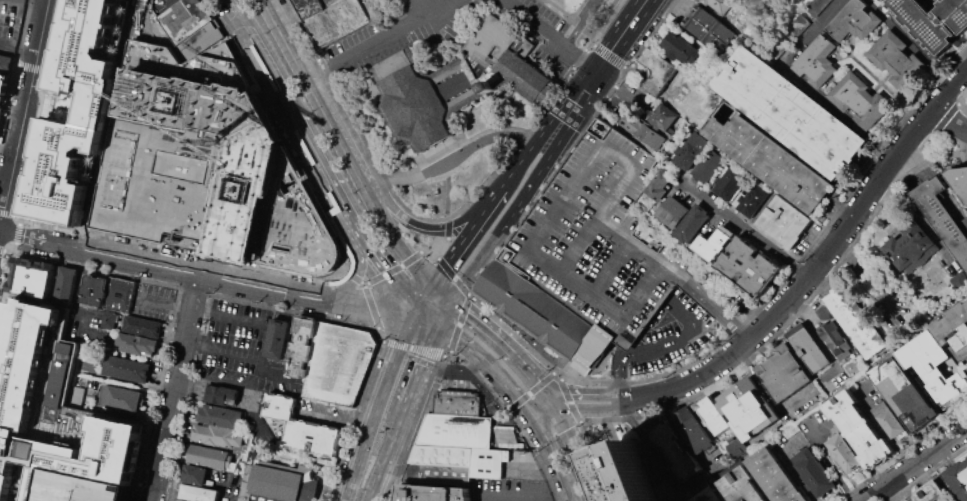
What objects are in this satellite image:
road: (168, 1)
building: (884, 1)
road: (34, 2)
parking lot: (163, 5)
building: (720, 5)
road: (420, 7)
building: (330, 18)
building: (934, 20)
building: (853, 22)
parking lot: (10, 23)
road: (532, 23)
road: (580, 24)
building: (799, 24)
building: (191, 28)
building: (711, 30)
road: (21, 33)
parking lot: (459, 34)
road: (621, 34)
road: (380, 35)
road: (908, 42)
road: (17, 46)
building: (681, 48)
road: (600, 49)
road: (261, 58)
road: (580, 58)
building: (896, 59)
building: (817, 62)
building: (5, 63)
road: (30, 67)
traffic signals: (597, 70)
building: (657, 70)
road: (46, 71)
road: (807, 83)
building: (457, 85)
building: (3, 86)
road: (314, 90)
road: (583, 90)
building: (859, 100)
road: (43, 108)
building: (76, 109)
road: (24, 110)
building: (1, 113)
building: (792, 113)
building: (663, 116)
road: (581, 119)
road: (556, 121)
road: (948, 121)
road: (354, 125)
building: (642, 130)
road: (936, 132)
road: (284, 134)
road: (632, 139)
road: (7, 148)
building: (694, 151)
road: (522, 159)
road: (927, 159)
road: (454, 160)
road: (319, 161)
building: (774, 161)
building: (209, 164)
building: (711, 165)
building: (959, 179)
building: (732, 182)
building: (661, 184)
road: (447, 191)
building: (754, 199)
road: (493, 200)
road: (860, 205)
road: (515, 207)
building: (674, 211)
road: (5, 212)
road: (20, 216)
road: (920, 218)
building: (943, 218)
road: (352, 219)
building: (785, 222)
road: (416, 223)
building: (695, 223)
road: (447, 227)
road: (747, 228)
road: (542, 229)
road: (16, 232)
road: (393, 235)
road: (117, 237)
parking lot: (598, 240)
road: (439, 243)
building: (716, 243)
road: (579, 244)
road: (639, 246)
road: (458, 247)
building: (911, 247)
road: (1, 249)
road: (430, 250)
road: (13, 252)
road: (374, 253)
building: (587, 256)
road: (445, 267)
road: (612, 267)
building: (750, 267)
road: (394, 268)
road: (96, 269)
road: (208, 275)
road: (354, 277)
road: (356, 277)
building: (31, 278)
building: (958, 280)
road: (6, 282)
road: (362, 282)
road: (869, 282)
road: (365, 283)
traffic signals: (434, 283)
road: (364, 285)
road: (460, 285)
building: (63, 286)
road: (402, 289)
road: (194, 290)
building: (92, 291)
road: (443, 291)
building: (119, 294)
road: (426, 294)
traffic signals: (453, 299)
road: (166, 305)
traffic signals: (418, 306)
road: (370, 307)
road: (716, 307)
road: (677, 310)
road: (291, 311)
road: (446, 311)
road: (641, 313)
road: (429, 315)
building: (107, 319)
building: (857, 320)
road: (479, 321)
road: (459, 322)
road: (407, 324)
traffic signals: (440, 324)
building: (140, 325)
parking lot: (661, 330)
building: (955, 334)
road: (378, 335)
road: (516, 336)
building: (276, 338)
road: (819, 340)
building: (839, 340)
building: (135, 344)
road: (412, 347)
road: (661, 347)
building: (808, 347)
road: (508, 350)
road: (448, 352)
road: (621, 352)
road: (445, 355)
building: (330, 360)
road: (488, 362)
road: (423, 364)
building: (934, 367)
building: (125, 368)
road: (553, 371)
road: (454, 373)
building: (787, 374)
road: (530, 375)
road: (619, 379)
parking lot: (461, 380)
road: (691, 381)
road: (593, 385)
road: (174, 387)
road: (531, 391)
road: (155, 393)
building: (220, 394)
road: (584, 394)
building: (76, 395)
building: (907, 395)
road: (187, 397)
traffic signals: (548, 397)
building: (118, 398)
road: (569, 400)
building: (456, 402)
road: (538, 403)
road: (726, 403)
road: (554, 406)
building: (748, 408)
building: (51, 409)
road: (508, 409)
building: (144, 410)
traffic signals: (528, 410)
road: (591, 410)
building: (714, 415)
traffic signals: (561, 416)
road: (336, 418)
road: (513, 418)
road: (534, 419)
road: (352, 420)
building: (889, 420)
road: (371, 422)
road: (551, 422)
road: (880, 425)
road: (418, 427)
building: (503, 427)
building: (301, 428)
traffic signals: (541, 429)
building: (789, 429)
building: (859, 429)
building: (455, 430)
building: (699, 433)
road: (511, 436)
building: (216, 438)
building: (507, 443)
building: (736, 446)
road: (390, 450)
building: (680, 450)
building: (845, 452)
building: (441, 454)
road: (823, 455)
building: (206, 457)
road: (580, 457)
road: (594, 460)
building: (487, 462)
road: (561, 463)
road: (917, 465)
building: (437, 473)
building: (634, 473)
building: (818, 474)
building: (193, 475)
building: (779, 477)
building: (959, 478)
building: (277, 481)
building: (745, 485)
building: (82, 487)
parking lot: (82, 487)
parking lot: (230, 487)
road: (226, 488)
parking lot: (511, 490)
building: (926, 492)
building: (432, 493)
building: (196, 494)
building: (715, 495)
road: (371, 497)
road: (525, 497)

